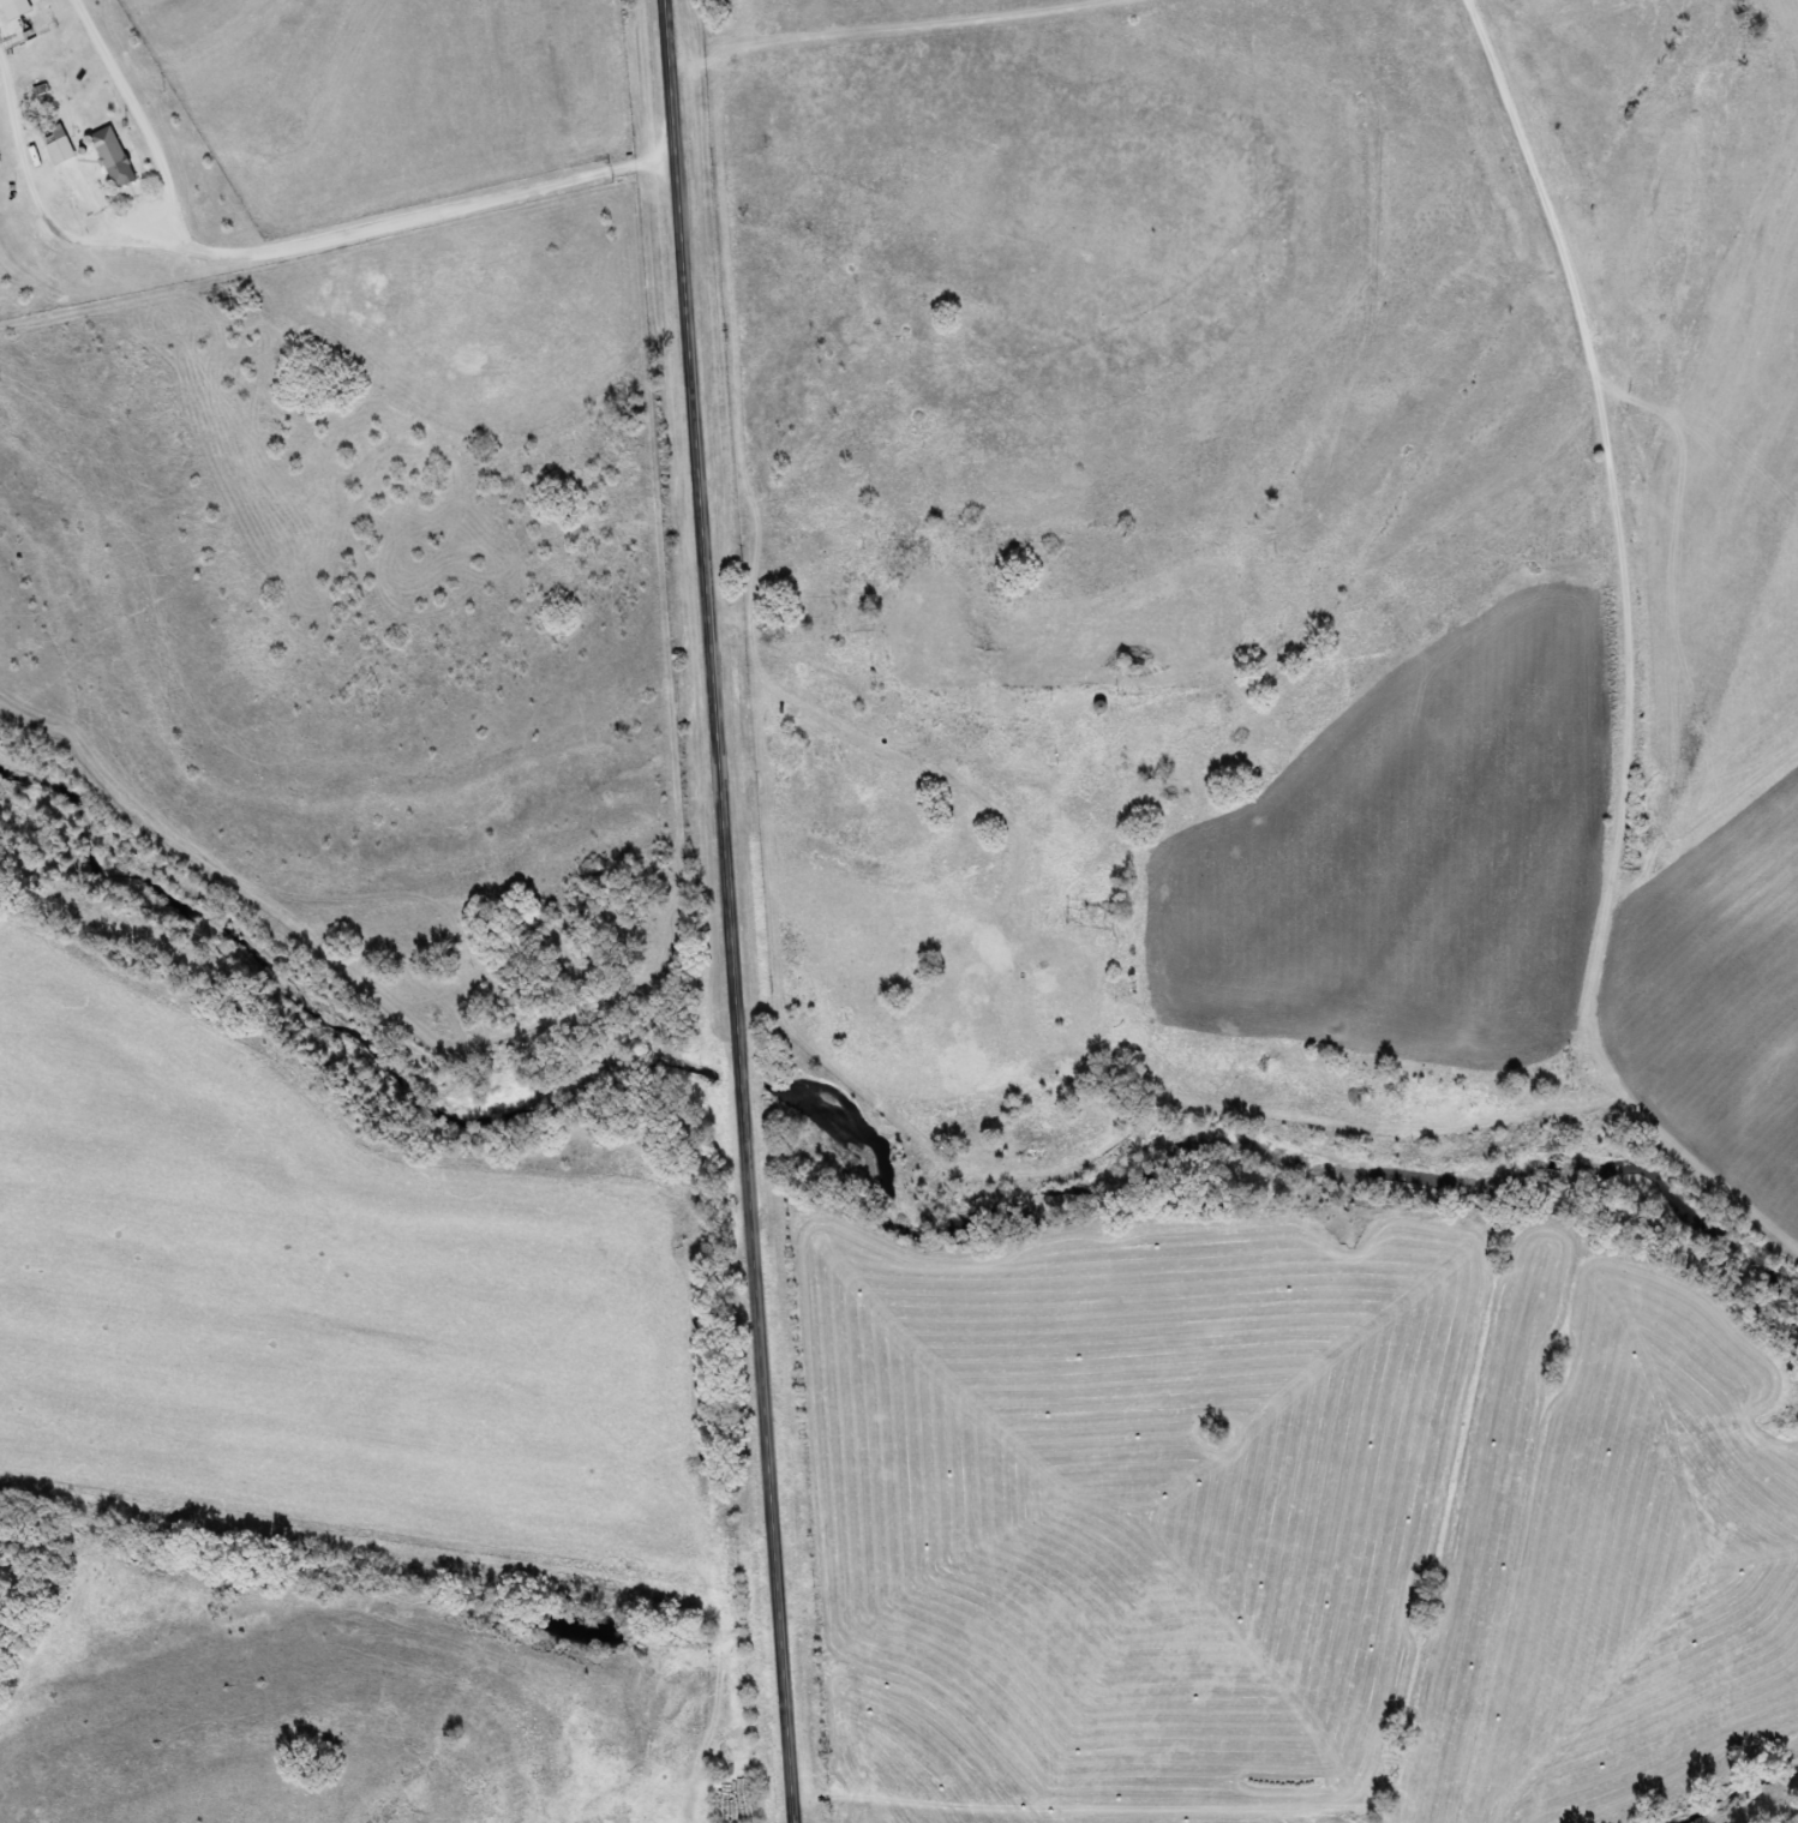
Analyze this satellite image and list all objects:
building: (5, 2)
building: (59, 149)
building: (112, 157)
road: (277, 251)
road: (939, 732)
railway: (1611, 907)
road: (735, 911)

